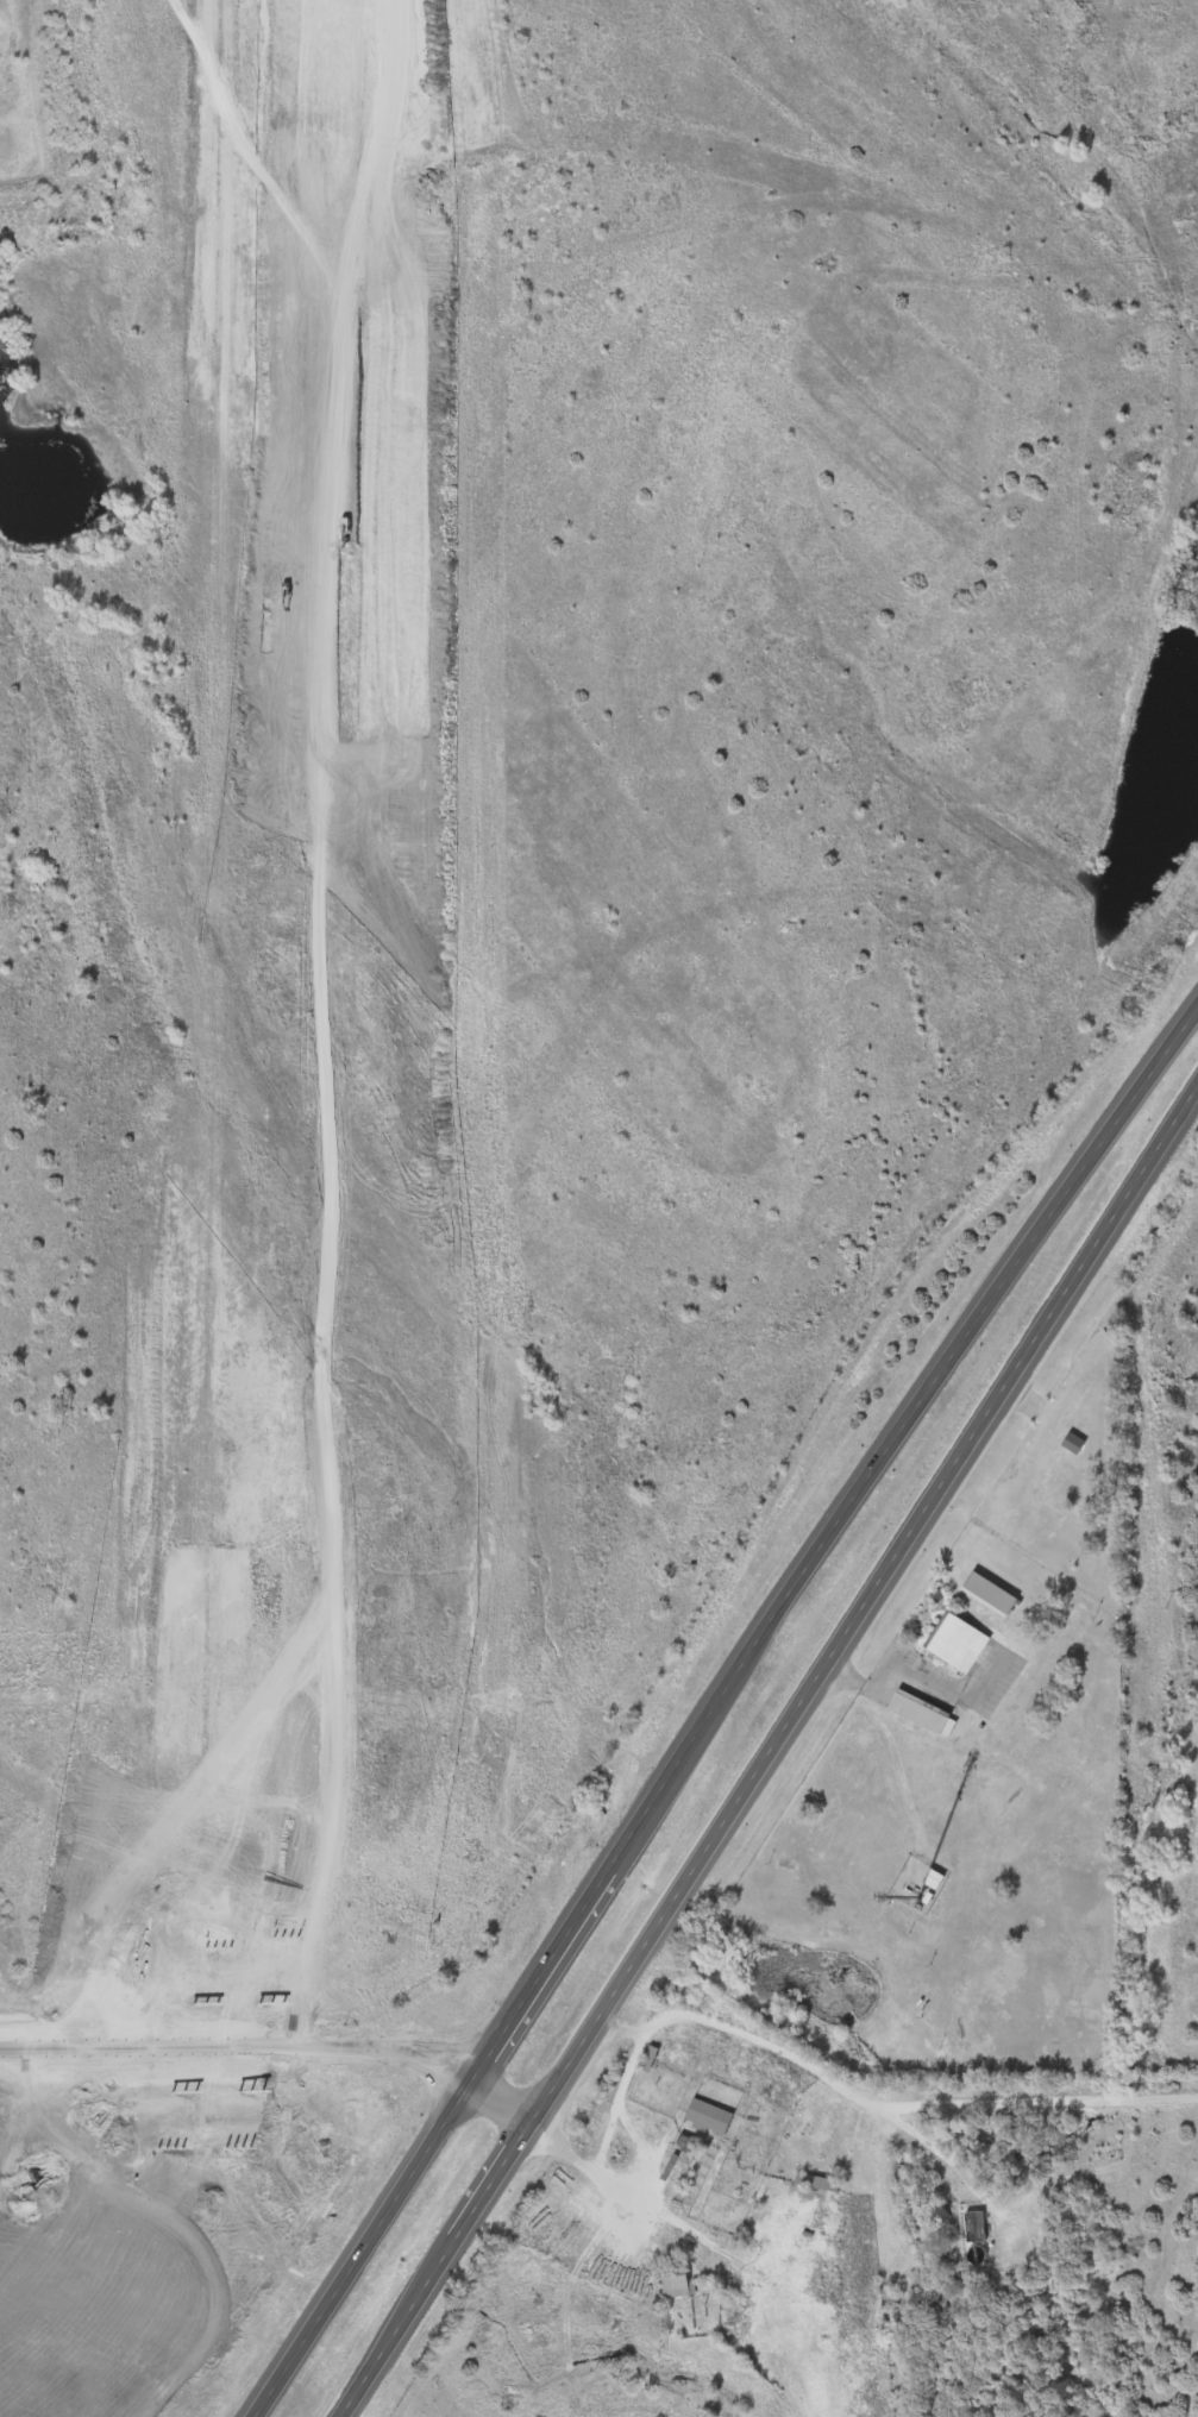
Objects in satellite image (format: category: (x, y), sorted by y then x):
road: (313, 999)
building: (1075, 1442)
building: (992, 1592)
building: (959, 1640)
road: (902, 1678)
road: (721, 1703)
building: (923, 1712)
road: (770, 1750)
road: (64, 2038)
road: (338, 2041)
building: (650, 2055)
road: (838, 2079)
building: (710, 2114)
road: (934, 2147)
road: (577, 2153)
building: (817, 2179)
building: (978, 2223)
building: (677, 2283)

